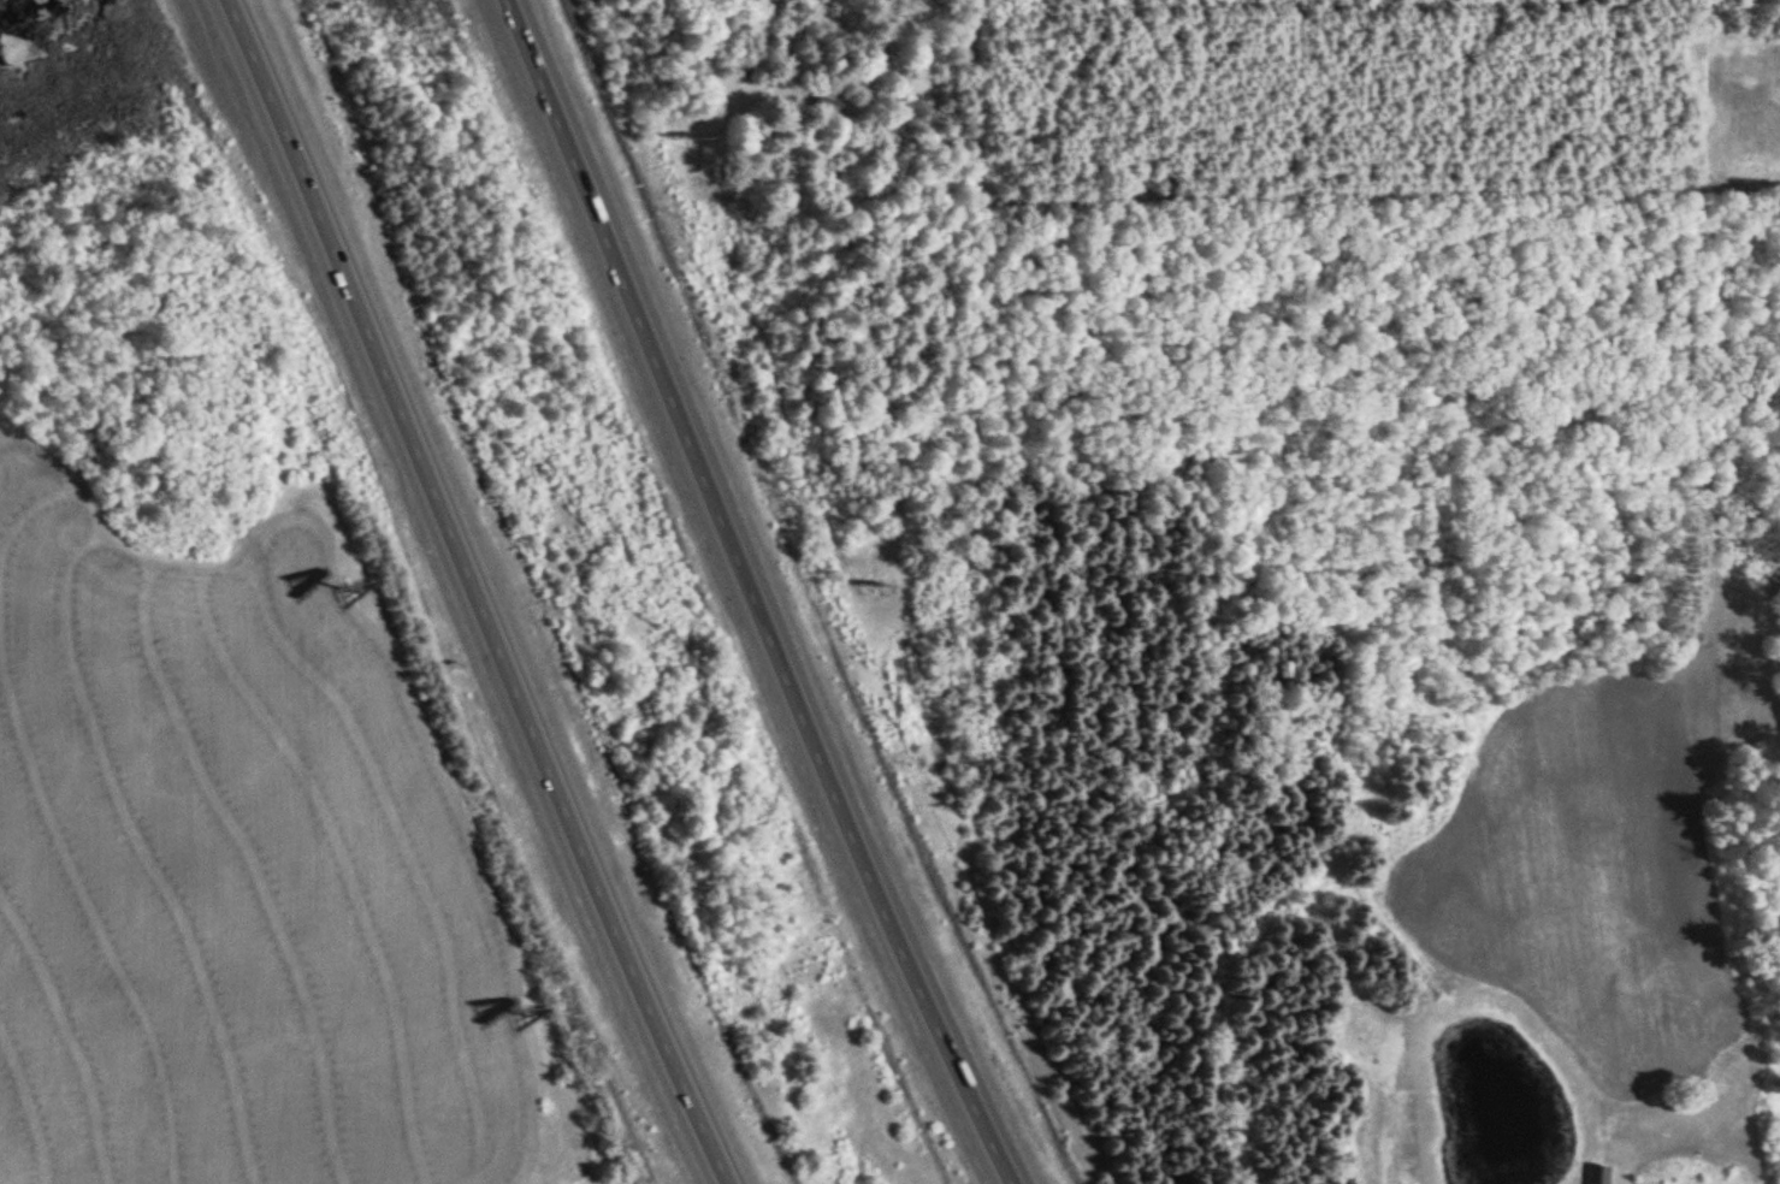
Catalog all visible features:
building: (834, 105)
road: (753, 592)
road: (479, 593)
building: (1607, 1174)

